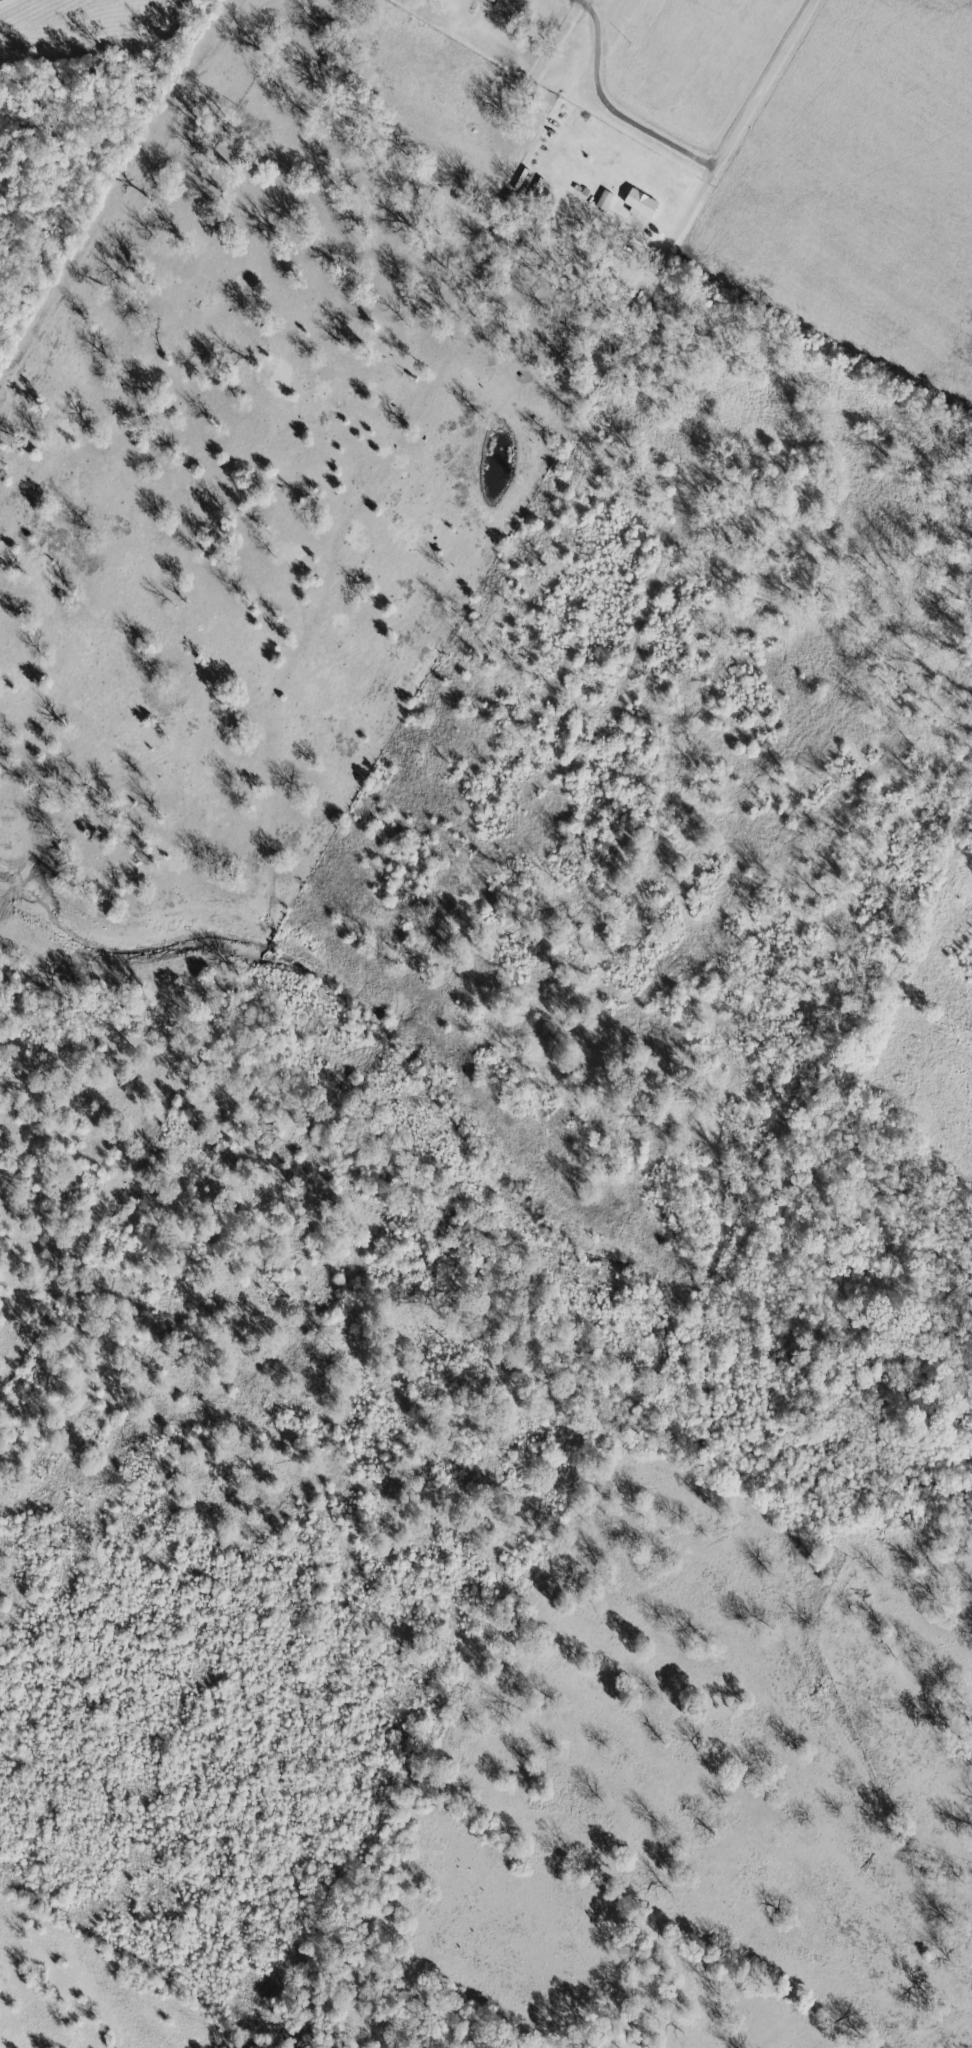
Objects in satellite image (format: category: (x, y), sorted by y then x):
road: (611, 105)
road: (724, 149)
building: (603, 199)
building: (640, 203)

